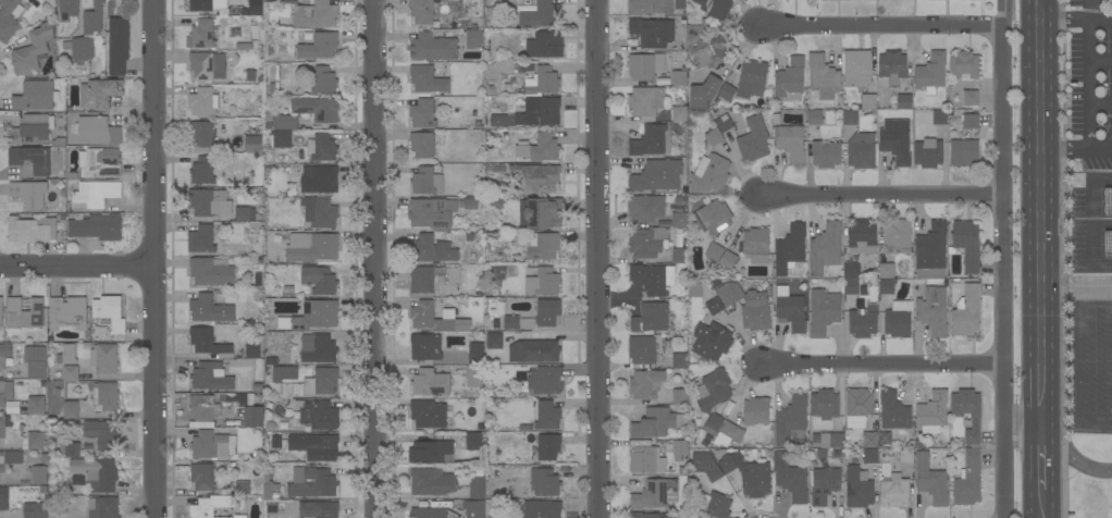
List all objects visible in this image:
building: (200, 5)
building: (69, 7)
building: (650, 7)
building: (716, 8)
road: (1086, 9)
building: (421, 11)
road: (1002, 12)
building: (314, 14)
building: (541, 15)
building: (9, 18)
building: (92, 18)
road: (1075, 20)
road: (877, 24)
building: (652, 33)
building: (201, 35)
building: (473, 38)
building: (548, 45)
building: (116, 46)
building: (318, 47)
building: (432, 47)
building: (82, 48)
building: (33, 49)
building: (711, 51)
road: (1099, 60)
road: (1087, 61)
building: (200, 64)
building: (645, 65)
building: (964, 65)
building: (892, 66)
building: (856, 67)
building: (930, 73)
building: (499, 76)
building: (823, 76)
building: (679, 77)
building: (790, 78)
building: (427, 79)
building: (752, 79)
building: (323, 81)
building: (543, 82)
building: (726, 91)
building: (704, 92)
building: (98, 94)
building: (35, 96)
building: (971, 98)
building: (645, 101)
building: (903, 101)
building: (202, 102)
building: (868, 102)
road: (1100, 103)
building: (317, 109)
building: (422, 113)
building: (531, 113)
building: (679, 113)
building: (814, 116)
building: (850, 118)
building: (939, 118)
building: (971, 121)
building: (285, 122)
building: (724, 123)
road: (1088, 125)
building: (29, 128)
building: (96, 131)
building: (200, 134)
building: (714, 137)
building: (282, 139)
building: (754, 139)
building: (648, 140)
building: (790, 141)
building: (895, 141)
building: (252, 145)
building: (421, 145)
building: (321, 147)
road: (1064, 147)
building: (539, 148)
road: (1091, 148)
road: (1103, 149)
building: (861, 150)
building: (963, 152)
building: (826, 153)
building: (928, 153)
building: (30, 159)
building: (99, 162)
building: (202, 171)
building: (709, 174)
building: (657, 175)
building: (536, 177)
building: (318, 178)
building: (427, 182)
road: (878, 193)
building: (28, 194)
building: (95, 194)
building: (209, 202)
building: (471, 202)
building: (645, 208)
building: (319, 212)
building: (431, 212)
building: (540, 212)
road: (1040, 213)
building: (246, 214)
building: (713, 217)
building: (679, 220)
road: (1002, 225)
building: (96, 227)
building: (30, 230)
building: (897, 236)
building: (862, 237)
building: (200, 239)
building: (646, 242)
building: (966, 244)
building: (756, 245)
building: (543, 246)
building: (311, 247)
building: (825, 248)
building: (432, 249)
building: (790, 249)
building: (714, 251)
building: (931, 251)
building: (679, 256)
road: (159, 258)
road: (376, 259)
road: (594, 259)
building: (728, 259)
road: (79, 264)
building: (851, 270)
building: (210, 272)
building: (427, 279)
building: (653, 279)
building: (887, 279)
building: (319, 280)
building: (542, 282)
building: (851, 286)
road: (1097, 303)
building: (714, 306)
building: (746, 306)
building: (790, 308)
building: (210, 309)
building: (823, 311)
building: (932, 311)
building: (1, 312)
building: (109, 312)
building: (547, 312)
building: (966, 312)
building: (24, 313)
building: (67, 313)
building: (312, 316)
building: (431, 317)
building: (650, 318)
building: (898, 319)
building: (511, 323)
building: (862, 323)
building: (713, 338)
building: (494, 341)
building: (207, 342)
building: (425, 347)
building: (319, 349)
building: (642, 349)
building: (252, 350)
building: (533, 350)
building: (475, 353)
building: (4, 354)
building: (66, 355)
building: (103, 358)
building: (679, 360)
road: (1082, 360)
building: (35, 361)
parking lot: (1094, 361)
road: (1111, 361)
road: (884, 362)
building: (70, 373)
building: (283, 373)
building: (474, 375)
building: (210, 377)
building: (545, 380)
building: (321, 381)
building: (430, 383)
building: (645, 384)
building: (713, 390)
building: (2, 394)
building: (104, 396)
building: (680, 396)
building: (824, 404)
building: (35, 405)
building: (857, 407)
building: (203, 408)
building: (70, 410)
building: (756, 411)
building: (893, 411)
building: (931, 412)
building: (428, 414)
building: (319, 415)
building: (547, 416)
building: (254, 417)
building: (790, 419)
road: (1097, 419)
building: (656, 422)
building: (3, 424)
road: (1022, 427)
building: (722, 430)
building: (102, 433)
road: (1042, 437)
building: (869, 440)
building: (36, 441)
building: (472, 441)
building: (831, 441)
building: (275, 442)
building: (212, 445)
building: (548, 446)
building: (975, 446)
building: (72, 448)
building: (321, 448)
building: (679, 449)
building: (431, 452)
building: (905, 456)
building: (870, 457)
building: (10, 458)
building: (646, 459)
road: (1076, 460)
building: (705, 465)
road: (1001, 472)
building: (97, 473)
building: (39, 474)
building: (747, 474)
building: (202, 476)
building: (790, 478)
road: (1042, 479)
building: (930, 480)
building: (431, 481)
building: (544, 482)
building: (311, 483)
building: (824, 484)
building: (242, 488)
building: (477, 488)
building: (857, 488)
building: (893, 491)
building: (654, 494)
building: (271, 496)
building: (3, 497)
building: (715, 505)
building: (214, 507)
building: (104, 508)
building: (472, 508)
building: (325, 509)
building: (541, 509)
building: (35, 510)
building: (428, 513)
road: (1043, 514)
building: (646, 515)

